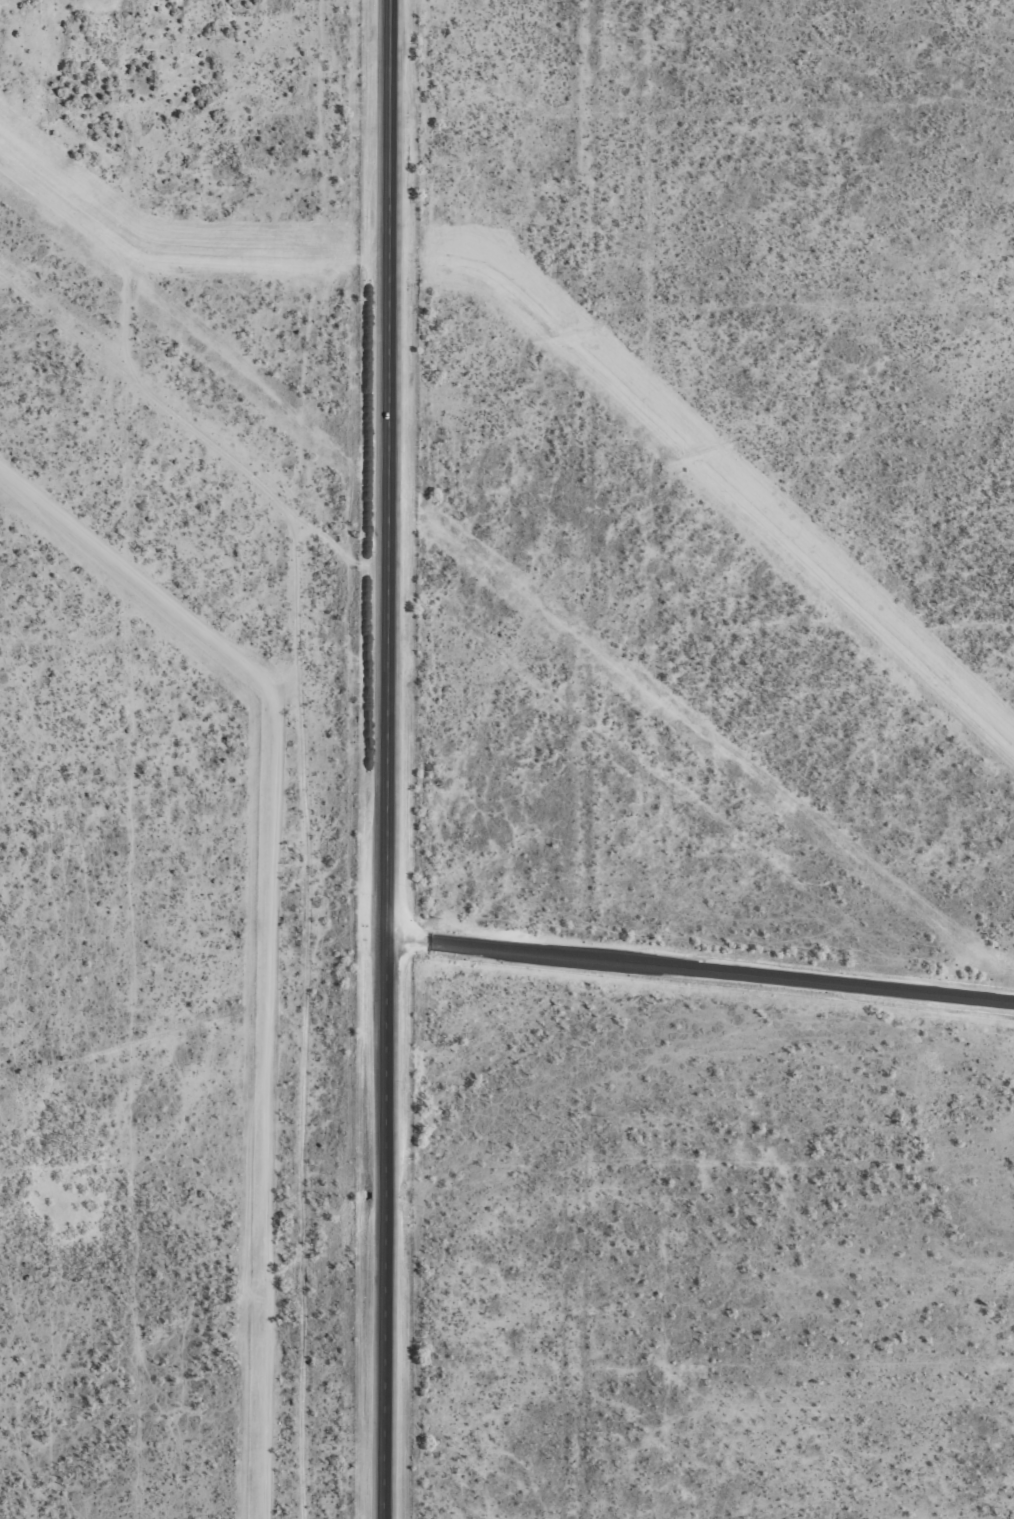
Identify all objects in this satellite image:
road: (382, 759)
road: (246, 858)
road: (698, 968)

